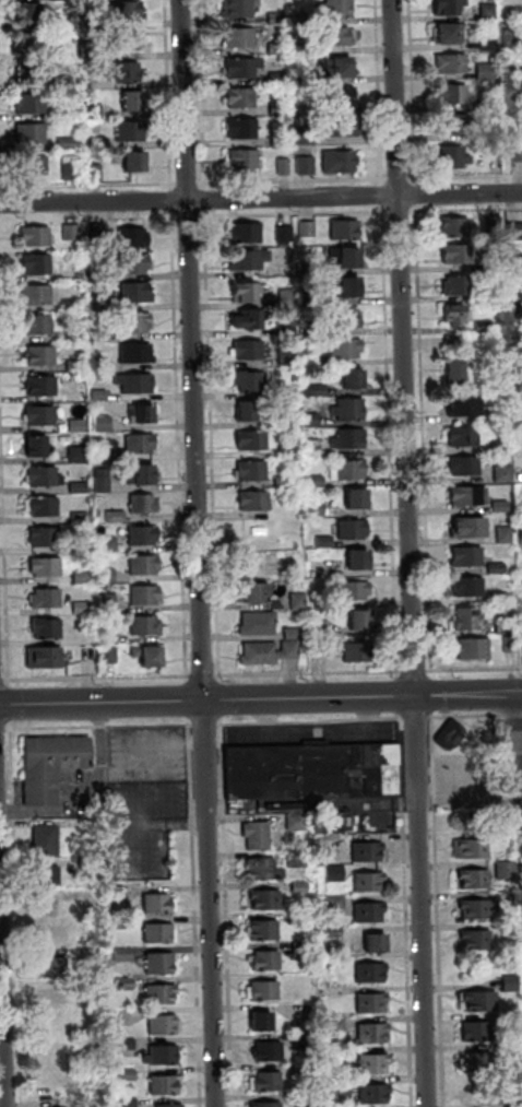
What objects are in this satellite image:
building: (240, 9)
building: (340, 10)
building: (450, 10)
building: (128, 13)
building: (490, 13)
building: (31, 15)
building: (302, 19)
building: (278, 20)
building: (91, 23)
building: (450, 37)
building: (336, 38)
building: (354, 39)
building: (240, 40)
building: (127, 42)
building: (514, 43)
building: (490, 44)
building: (31, 45)
building: (278, 49)
building: (304, 49)
building: (87, 51)
building: (453, 66)
building: (242, 70)
building: (340, 71)
building: (488, 73)
building: (127, 74)
building: (305, 76)
building: (26, 79)
building: (280, 79)
building: (64, 82)
building: (455, 96)
building: (242, 101)
building: (343, 101)
building: (514, 103)
building: (491, 105)
building: (32, 106)
building: (133, 106)
building: (280, 110)
building: (94, 111)
building: (454, 127)
building: (343, 129)
building: (514, 130)
building: (246, 131)
building: (133, 133)
building: (488, 133)
building: (33, 136)
building: (308, 137)
building: (282, 140)
building: (68, 144)
building: (96, 144)
building: (518, 154)
building: (455, 160)
building: (244, 162)
building: (341, 164)
building: (137, 166)
building: (308, 166)
building: (37, 167)
building: (285, 168)
building: (72, 173)
building: (96, 173)
road: (261, 199)
building: (494, 224)
building: (455, 225)
building: (346, 227)
building: (308, 228)
building: (96, 231)
building: (245, 231)
building: (514, 231)
building: (72, 232)
building: (285, 234)
building: (36, 235)
building: (134, 236)
building: (458, 251)
building: (347, 254)
building: (249, 258)
building: (134, 262)
building: (37, 263)
building: (495, 264)
building: (318, 268)
building: (346, 284)
building: (458, 284)
building: (246, 288)
building: (137, 292)
building: (37, 294)
building: (316, 294)
building: (287, 297)
building: (70, 305)
building: (99, 305)
building: (517, 308)
building: (458, 313)
building: (247, 316)
building: (345, 318)
building: (137, 322)
building: (37, 323)
building: (484, 326)
building: (310, 329)
building: (288, 331)
building: (346, 348)
building: (248, 349)
building: (137, 352)
building: (40, 354)
building: (519, 354)
building: (287, 355)
building: (310, 361)
building: (99, 364)
building: (76, 365)
building: (458, 369)
building: (354, 378)
building: (250, 379)
building: (137, 382)
building: (41, 384)
building: (315, 390)
building: (282, 391)
building: (99, 394)
building: (465, 402)
building: (349, 409)
building: (247, 410)
building: (142, 413)
building: (505, 413)
building: (41, 414)
building: (288, 420)
building: (311, 420)
building: (103, 423)
building: (76, 425)
building: (464, 436)
building: (349, 437)
building: (252, 439)
building: (36, 443)
building: (141, 443)
building: (501, 446)
building: (312, 448)
building: (288, 451)
building: (78, 454)
building: (111, 455)
building: (465, 464)
building: (349, 469)
building: (251, 470)
building: (141, 472)
building: (45, 474)
building: (505, 474)
building: (520, 476)
building: (103, 480)
building: (315, 481)
building: (284, 482)
building: (79, 487)
building: (470, 495)
building: (358, 498)
building: (254, 499)
building: (144, 502)
building: (43, 505)
building: (501, 506)
building: (317, 507)
building: (116, 516)
building: (81, 517)
building: (470, 527)
building: (353, 528)
building: (143, 534)
building: (506, 534)
building: (45, 535)
building: (325, 541)
building: (108, 544)
building: (82, 545)
road: (199, 553)
road: (412, 553)
building: (467, 555)
building: (359, 557)
building: (144, 564)
building: (47, 566)
building: (497, 567)
building: (108, 575)
building: (83, 577)
building: (468, 585)
building: (354, 589)
building: (253, 590)
building: (145, 593)
building: (46, 597)
building: (498, 598)
building: (299, 601)
building: (108, 602)
building: (83, 607)
building: (467, 617)
building: (360, 619)
building: (259, 623)
building: (146, 624)
building: (507, 625)
building: (47, 626)
building: (322, 629)
building: (294, 633)
building: (109, 635)
building: (510, 644)
building: (473, 647)
building: (290, 649)
building: (259, 651)
building: (358, 651)
building: (150, 653)
building: (109, 655)
building: (45, 656)
road: (475, 671)
road: (413, 672)
road: (307, 673)
road: (202, 675)
road: (97, 678)
road: (3, 680)
road: (260, 698)
road: (475, 716)
road: (417, 717)
road: (311, 721)
road: (205, 725)
road: (100, 727)
road: (3, 728)
road: (518, 730)
building: (451, 734)
road: (150, 752)
parking lot: (150, 755)
building: (51, 764)
building: (312, 770)
road: (82, 787)
road: (133, 816)
building: (296, 823)
building: (332, 823)
road: (170, 825)
parking lot: (142, 827)
building: (258, 835)
building: (46, 840)
building: (473, 844)
building: (368, 852)
building: (297, 859)
building: (88, 862)
building: (264, 869)
building: (507, 870)
building: (334, 873)
building: (48, 875)
building: (475, 881)
building: (369, 884)
building: (300, 887)
building: (124, 893)
building: (88, 896)
building: (268, 900)
building: (336, 903)
building: (159, 905)
building: (49, 906)
building: (479, 909)
road: (408, 911)
road: (439, 911)
building: (335, 912)
building: (371, 912)
road: (226, 915)
road: (195, 916)
road: (15, 918)
building: (300, 918)
building: (123, 923)
building: (264, 930)
building: (161, 933)
building: (334, 933)
building: (51, 934)
building: (477, 940)
building: (376, 943)
building: (301, 949)
building: (92, 954)
building: (123, 955)
building: (266, 961)
building: (162, 964)
building: (54, 967)
building: (372, 973)
building: (124, 984)
building: (511, 984)
building: (92, 987)
building: (264, 990)
road: (3, 996)
building: (162, 996)
building: (54, 998)
building: (478, 1001)
building: (371, 1003)
building: (261, 1021)
building: (165, 1025)
building: (337, 1025)
building: (479, 1032)
building: (372, 1034)
building: (305, 1041)
building: (126, 1044)
building: (512, 1050)
building: (270, 1051)
building: (340, 1052)
building: (164, 1056)
building: (52, 1057)
building: (478, 1062)
building: (376, 1064)
building: (304, 1070)
building: (127, 1074)
building: (268, 1082)
building: (166, 1085)
building: (339, 1087)
road: (31, 1090)
road: (44, 1090)
building: (377, 1095)
building: (308, 1100)
building: (513, 1102)
building: (129, 1103)
building: (94, 1104)
building: (268, 1105)
building: (170, 1106)

